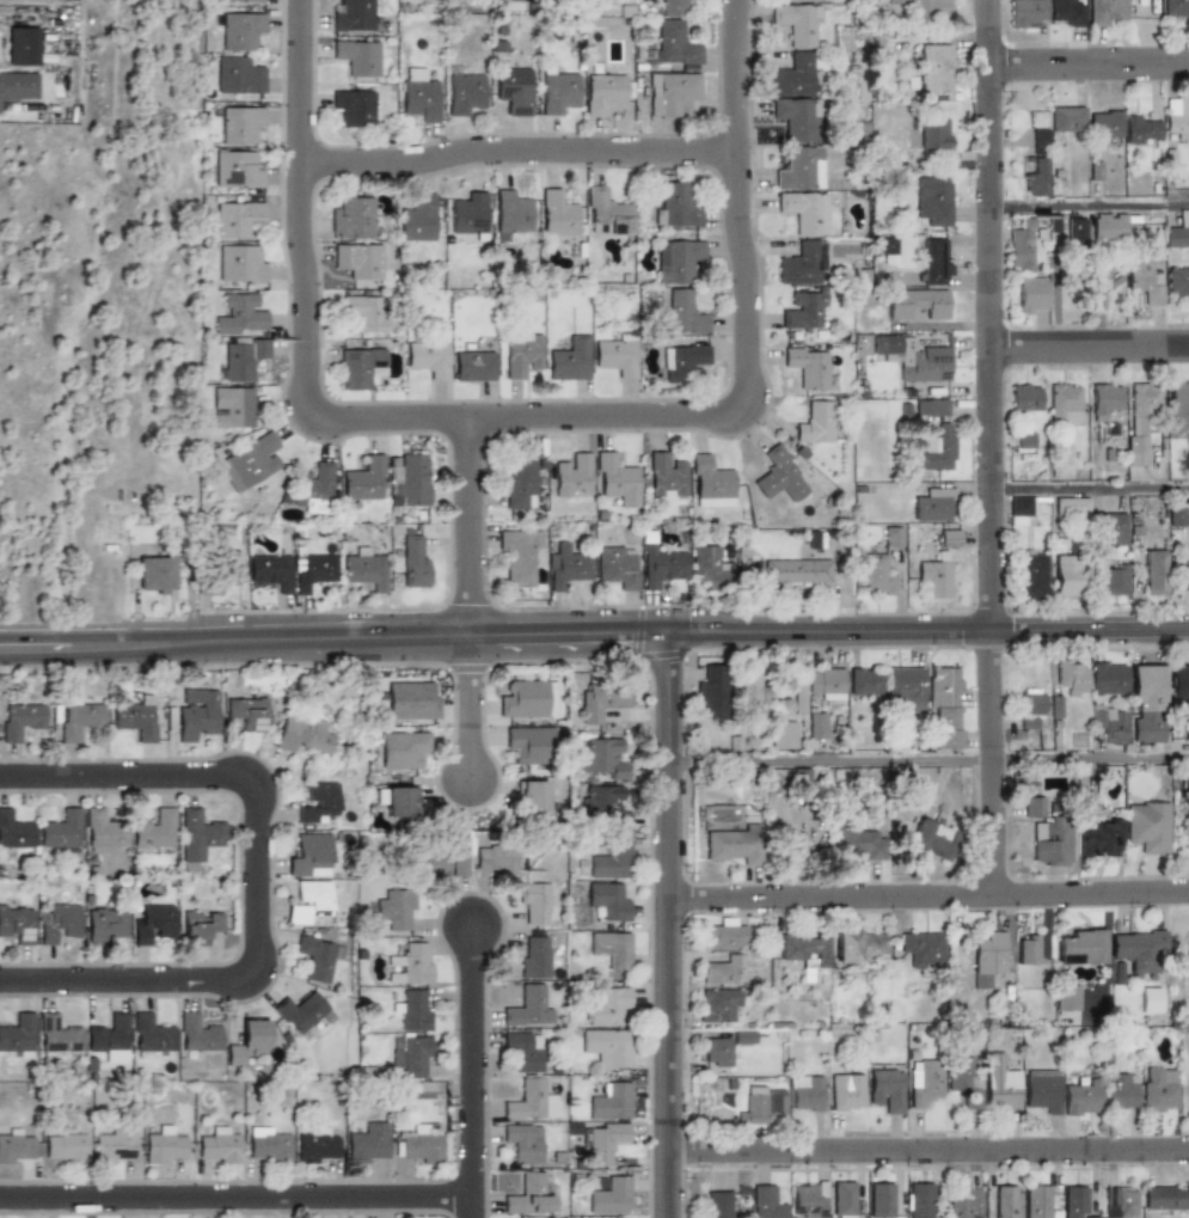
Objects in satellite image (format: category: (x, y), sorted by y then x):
building: (243, 0)
building: (682, 7)
building: (930, 7)
building: (1144, 8)
building: (1177, 8)
building: (1104, 11)
building: (1024, 13)
building: (354, 16)
building: (797, 23)
building: (241, 29)
building: (675, 43)
building: (23, 47)
building: (357, 56)
road: (1089, 65)
building: (933, 68)
building: (238, 75)
building: (793, 75)
building: (18, 86)
building: (514, 90)
building: (465, 92)
building: (558, 92)
building: (603, 93)
building: (674, 94)
building: (421, 99)
building: (354, 109)
building: (1177, 117)
building: (797, 118)
building: (1065, 120)
building: (240, 124)
building: (1104, 126)
building: (1140, 130)
building: (920, 141)
building: (1037, 141)
road: (517, 151)
building: (237, 169)
building: (801, 169)
building: (1034, 178)
building: (931, 198)
building: (674, 206)
road: (1090, 207)
building: (510, 212)
building: (468, 213)
building: (557, 213)
building: (607, 213)
building: (804, 213)
building: (417, 218)
building: (238, 219)
building: (356, 219)
building: (1052, 222)
building: (1108, 226)
building: (1074, 232)
building: (1178, 233)
building: (1021, 246)
building: (888, 249)
building: (358, 261)
building: (676, 261)
building: (934, 262)
building: (243, 264)
building: (802, 264)
building: (1142, 281)
road: (307, 283)
building: (1178, 283)
building: (1031, 294)
building: (918, 304)
building: (804, 311)
building: (367, 312)
building: (682, 312)
building: (241, 316)
road: (991, 316)
road: (749, 342)
road: (1090, 347)
building: (522, 354)
building: (617, 356)
building: (912, 356)
building: (241, 359)
building: (429, 359)
building: (569, 359)
building: (682, 361)
building: (474, 366)
building: (361, 367)
building: (808, 367)
building: (1025, 398)
building: (1104, 400)
building: (1064, 403)
building: (1178, 406)
building: (232, 408)
building: (934, 408)
building: (1141, 418)
building: (816, 423)
building: (1024, 440)
building: (937, 449)
building: (250, 461)
building: (572, 475)
building: (666, 477)
building: (778, 477)
building: (617, 479)
building: (363, 481)
building: (409, 481)
building: (520, 482)
building: (710, 483)
building: (313, 489)
road: (1091, 489)
building: (934, 506)
building: (1068, 506)
building: (1021, 510)
building: (1177, 515)
road: (471, 526)
building: (1109, 530)
building: (813, 539)
building: (520, 555)
building: (415, 561)
building: (881, 563)
building: (661, 565)
building: (938, 565)
building: (566, 567)
building: (618, 567)
building: (709, 567)
building: (233, 568)
building: (269, 569)
building: (314, 569)
building: (366, 570)
building: (796, 570)
building: (1153, 573)
building: (1182, 573)
building: (155, 575)
building: (1031, 575)
building: (1066, 575)
building: (1111, 580)
road: (594, 632)
building: (1071, 675)
building: (1108, 678)
building: (865, 681)
building: (826, 683)
building: (1178, 686)
building: (905, 687)
building: (752, 690)
building: (710, 692)
building: (528, 699)
building: (411, 700)
building: (602, 700)
building: (1029, 702)
building: (1145, 703)
building: (943, 706)
road: (472, 708)
building: (196, 711)
building: (807, 711)
building: (247, 712)
building: (79, 717)
building: (22, 718)
building: (135, 718)
building: (1107, 722)
building: (1025, 723)
building: (1184, 729)
building: (302, 733)
building: (782, 735)
building: (528, 742)
building: (403, 749)
building: (602, 757)
road: (928, 760)
road: (992, 764)
building: (1182, 777)
building: (532, 796)
building: (318, 801)
building: (400, 802)
building: (602, 803)
building: (1142, 826)
building: (155, 830)
building: (105, 831)
building: (61, 832)
building: (16, 833)
building: (1042, 833)
building: (1093, 833)
building: (198, 837)
building: (930, 840)
building: (853, 841)
building: (731, 845)
building: (787, 850)
building: (311, 855)
building: (496, 859)
building: (608, 861)
building: (446, 864)
road: (259, 877)
road: (930, 896)
building: (608, 900)
building: (308, 901)
building: (538, 905)
building: (396, 908)
building: (16, 920)
building: (59, 920)
building: (153, 920)
building: (104, 922)
road: (670, 924)
building: (201, 926)
building: (724, 934)
building: (858, 945)
building: (1080, 947)
building: (612, 948)
building: (918, 948)
building: (1025, 948)
building: (799, 949)
building: (1139, 949)
building: (318, 955)
building: (1187, 955)
building: (535, 956)
building: (985, 956)
building: (416, 962)
building: (723, 968)
building: (1067, 997)
building: (607, 1004)
building: (721, 1004)
building: (529, 1005)
building: (415, 1009)
building: (301, 1011)
building: (152, 1034)
building: (198, 1034)
building: (18, 1035)
building: (57, 1035)
building: (110, 1036)
building: (744, 1036)
building: (250, 1040)
building: (608, 1046)
building: (523, 1049)
building: (411, 1054)
building: (717, 1057)
road: (474, 1072)
building: (964, 1081)
building: (1001, 1081)
building: (925, 1083)
building: (887, 1089)
building: (1043, 1089)
building: (1121, 1090)
building: (1160, 1090)
building: (808, 1091)
building: (846, 1091)
building: (1083, 1096)
building: (533, 1100)
building: (612, 1101)
building: (774, 1102)
building: (753, 1107)
building: (523, 1142)
building: (369, 1143)
building: (419, 1143)
building: (605, 1143)
building: (268, 1144)
building: (116, 1145)
building: (17, 1146)
building: (164, 1146)
building: (219, 1146)
building: (317, 1146)
building: (66, 1147)
road: (930, 1151)
building: (528, 1195)
building: (611, 1195)
building: (1166, 1196)
road: (237, 1198)
building: (1121, 1198)
building: (809, 1199)
building: (844, 1199)
building: (881, 1200)
building: (920, 1200)
building: (1005, 1201)
building: (1037, 1201)
building: (1075, 1201)
building: (766, 1202)
building: (715, 1204)
building: (966, 1205)
building: (1091, 1217)

